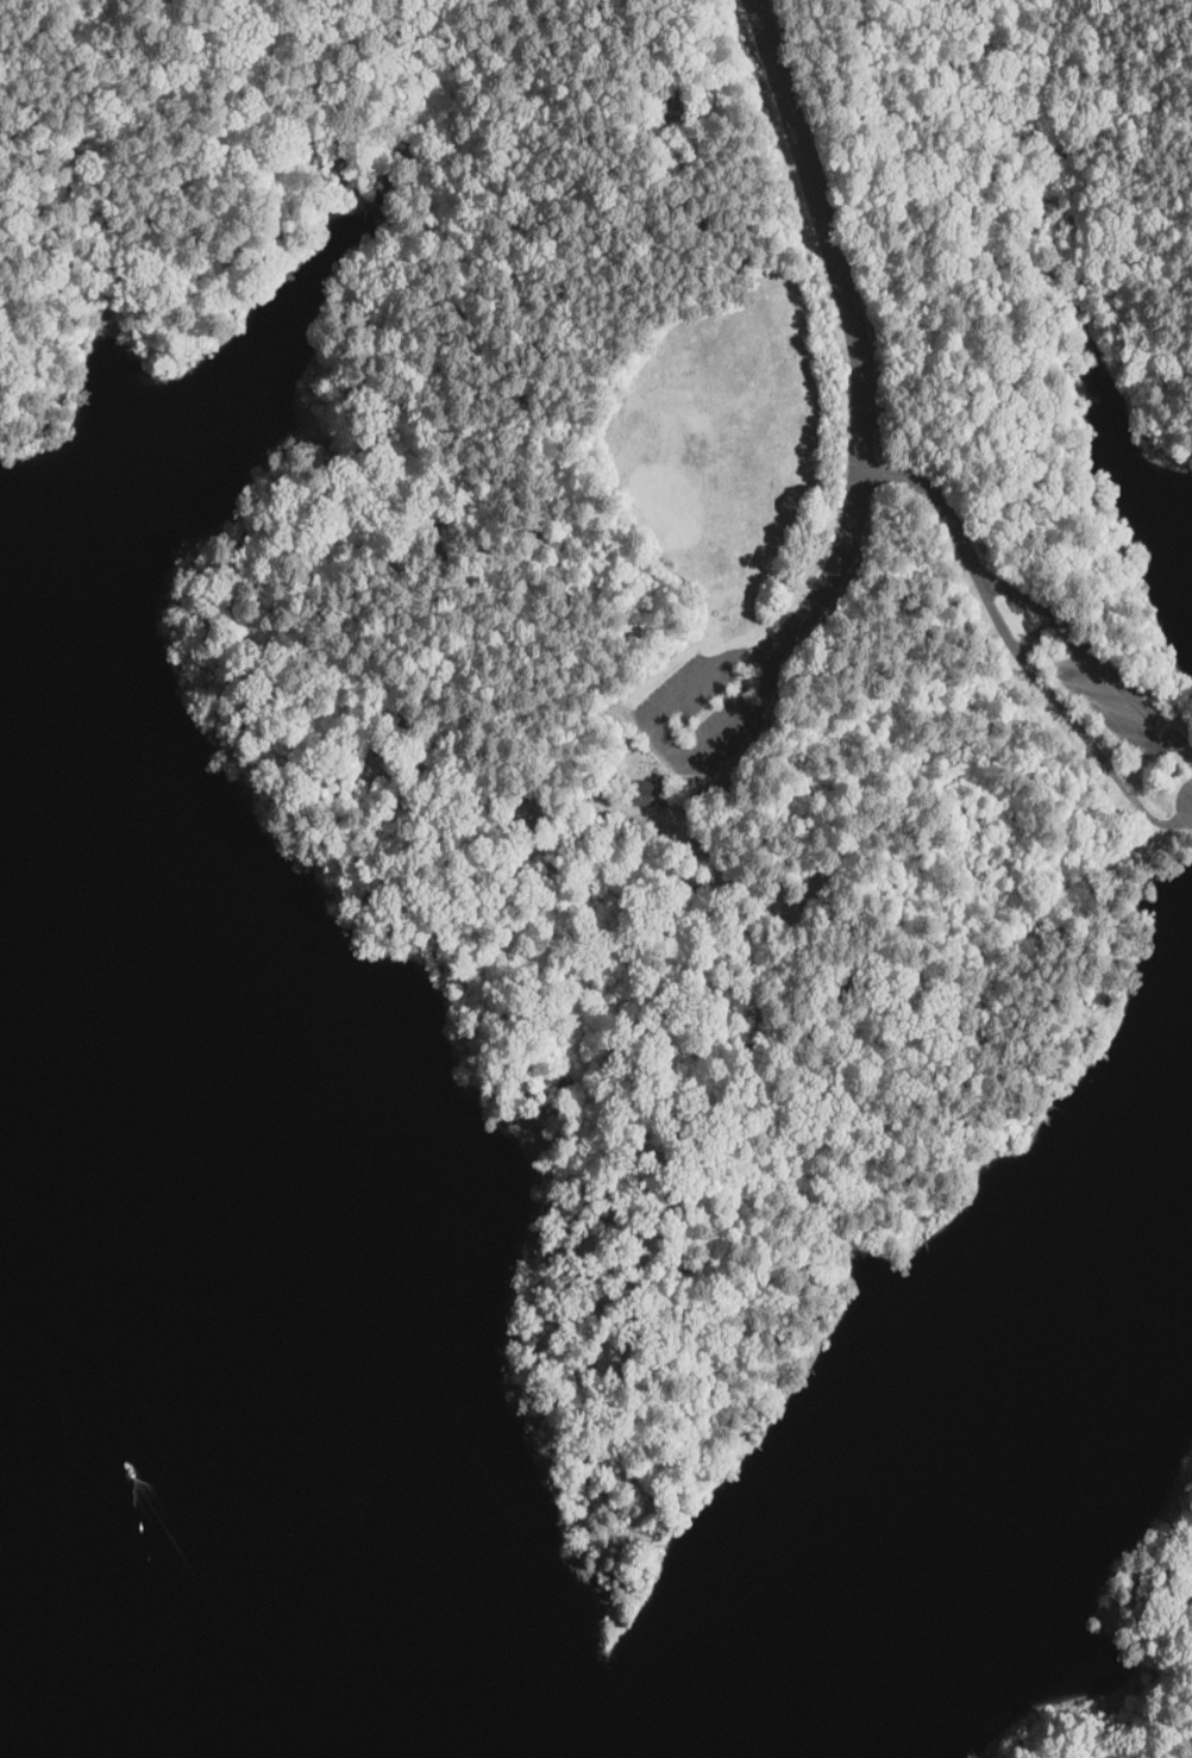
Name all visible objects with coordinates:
road: (853, 339)
road: (942, 506)
park: (664, 606)
road: (996, 615)
parking lot: (1119, 705)
parking lot: (703, 714)
building: (650, 784)
river: (144, 1487)

